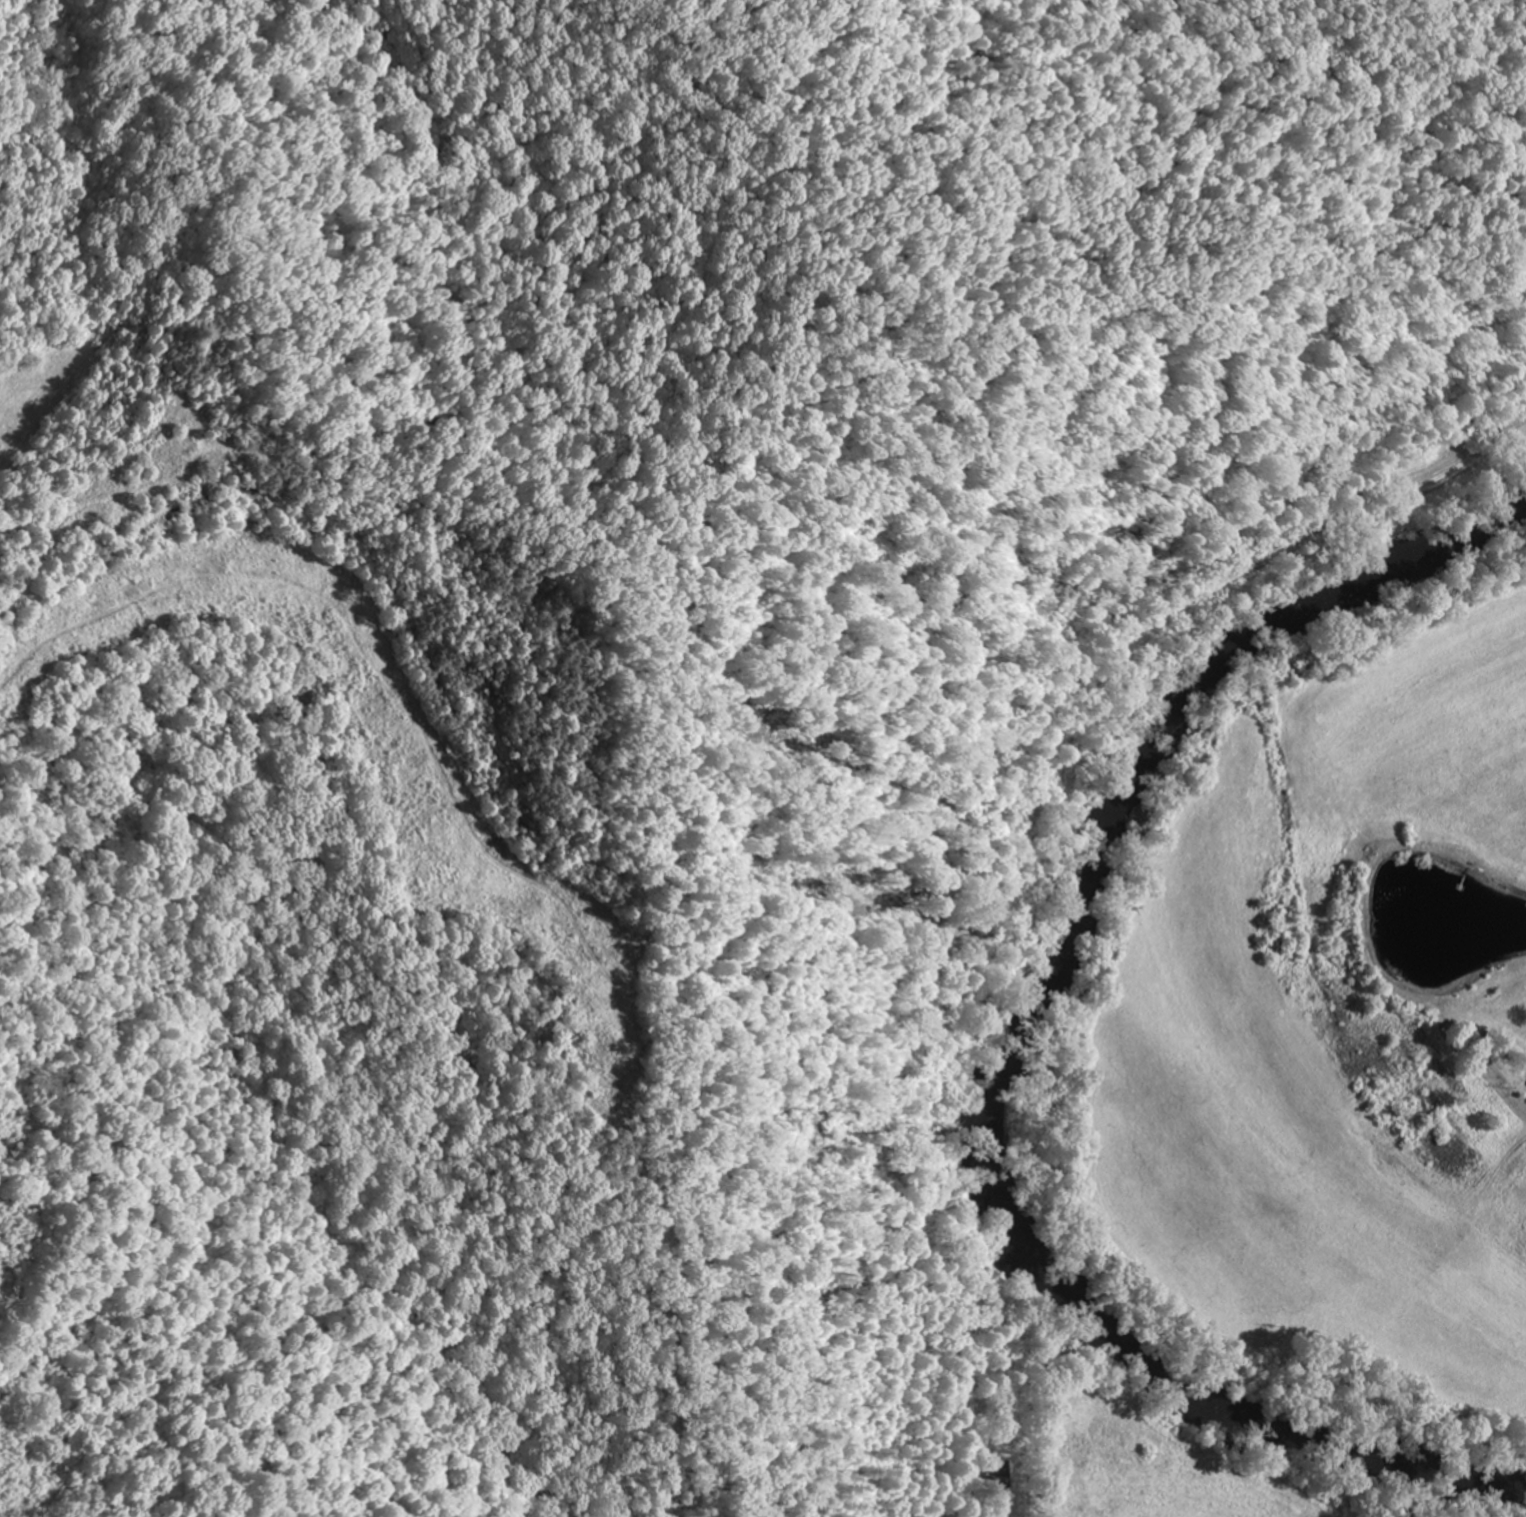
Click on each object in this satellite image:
river: (1013, 1051)

